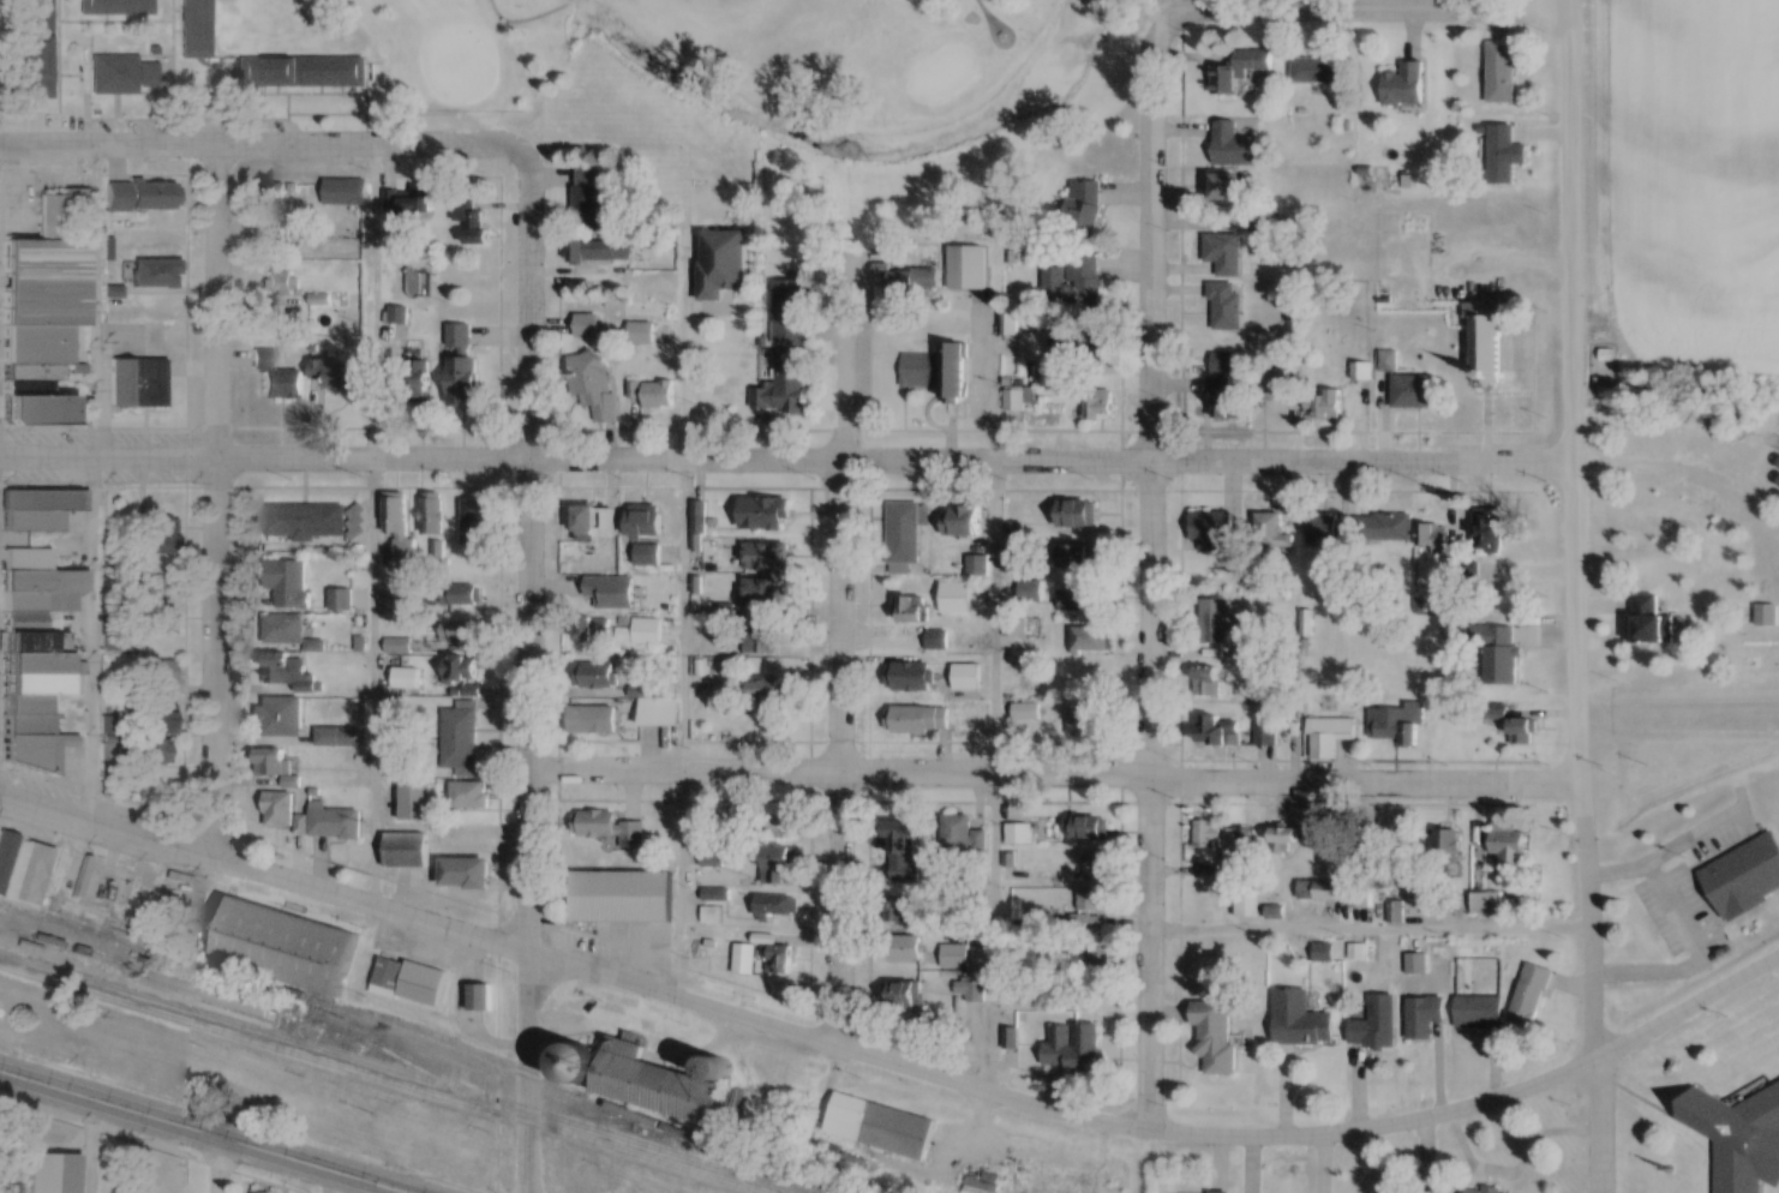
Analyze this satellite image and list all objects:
road: (575, 1)
road: (1356, 5)
building: (118, 7)
building: (197, 29)
building: (40, 49)
park: (720, 53)
building: (1316, 70)
building: (1240, 71)
building: (301, 72)
building: (126, 73)
building: (1502, 73)
building: (1404, 85)
road: (264, 145)
building: (1234, 146)
building: (1504, 155)
building: (1228, 187)
building: (346, 193)
building: (157, 197)
building: (588, 197)
building: (118, 198)
building: (409, 204)
building: (1084, 208)
building: (276, 226)
building: (473, 226)
building: (604, 251)
building: (1224, 253)
building: (723, 264)
building: (968, 268)
building: (155, 274)
building: (914, 280)
building: (1074, 286)
building: (281, 288)
building: (46, 293)
building: (1227, 306)
building: (790, 311)
building: (641, 332)
building: (1486, 341)
building: (1074, 354)
building: (1389, 361)
building: (1606, 367)
building: (462, 368)
building: (938, 371)
road: (1576, 373)
building: (342, 377)
building: (277, 378)
building: (417, 382)
building: (1270, 382)
building: (143, 383)
building: (594, 384)
building: (787, 385)
building: (1222, 385)
building: (1413, 391)
building: (659, 396)
building: (1016, 398)
building: (1323, 406)
building: (1100, 409)
building: (36, 410)
road: (789, 463)
road: (96, 482)
road: (1706, 491)
road: (210, 500)
building: (41, 510)
road: (681, 514)
building: (431, 515)
building: (766, 515)
building: (1078, 515)
road: (834, 516)
building: (305, 521)
building: (962, 521)
building: (645, 522)
building: (477, 523)
building: (595, 523)
building: (399, 527)
building: (1385, 528)
road: (371, 529)
building: (1274, 530)
building: (1328, 530)
building: (1212, 532)
building: (1490, 532)
building: (904, 533)
building: (156, 538)
building: (1436, 539)
building: (647, 556)
building: (762, 556)
building: (1084, 556)
road: (523, 560)
building: (288, 583)
road: (1150, 587)
building: (1031, 590)
building: (607, 593)
building: (766, 594)
building: (460, 595)
building: (957, 598)
building: (1077, 598)
building: (341, 601)
building: (910, 609)
building: (1215, 622)
building: (1655, 623)
building: (156, 624)
building: (283, 630)
building: (593, 630)
building: (459, 633)
building: (640, 633)
building: (1761, 634)
building: (765, 639)
building: (1091, 640)
building: (399, 647)
building: (35, 655)
building: (1502, 657)
building: (460, 670)
building: (158, 672)
building: (290, 675)
building: (598, 676)
building: (910, 677)
building: (968, 677)
building: (408, 679)
building: (1208, 681)
building: (767, 694)
building: (659, 712)
building: (1024, 712)
building: (281, 718)
building: (158, 719)
building: (592, 720)
building: (920, 720)
building: (1085, 720)
building: (1401, 725)
building: (1220, 731)
building: (1523, 733)
building: (1266, 735)
building: (1329, 736)
building: (337, 738)
building: (460, 739)
building: (158, 755)
building: (277, 768)
road: (1052, 778)
road: (989, 781)
building: (471, 796)
building: (415, 801)
building: (278, 811)
building: (334, 823)
building: (780, 827)
building: (611, 829)
building: (1090, 829)
building: (1018, 834)
building: (960, 835)
building: (1206, 835)
building: (899, 837)
building: (1284, 838)
building: (1242, 844)
building: (1509, 847)
building: (406, 852)
building: (1448, 853)
building: (779, 867)
building: (1097, 867)
building: (465, 875)
building: (1744, 879)
road: (682, 887)
building: (1320, 891)
building: (622, 894)
building: (711, 897)
building: (1360, 898)
road: (1587, 901)
building: (1090, 904)
building: (1487, 904)
building: (775, 906)
building: (898, 911)
road: (837, 913)
road: (1367, 928)
building: (284, 948)
building: (905, 949)
building: (954, 957)
building: (779, 960)
building: (1416, 965)
building: (409, 982)
building: (971, 989)
building: (905, 995)
building: (1532, 996)
building: (233, 999)
building: (480, 999)
road: (1688, 1007)
building: (1479, 1013)
building: (1424, 1018)
building: (1300, 1020)
building: (1377, 1025)
road: (525, 1036)
building: (1216, 1036)
road: (793, 1038)
building: (1077, 1051)
building: (577, 1066)
building: (657, 1086)
road: (1600, 1123)
building: (886, 1127)
road: (203, 1131)
building: (1738, 1137)
road: (527, 1153)
road: (220, 1164)
road: (1515, 1171)
road: (372, 1188)
building: (1474, 1192)

